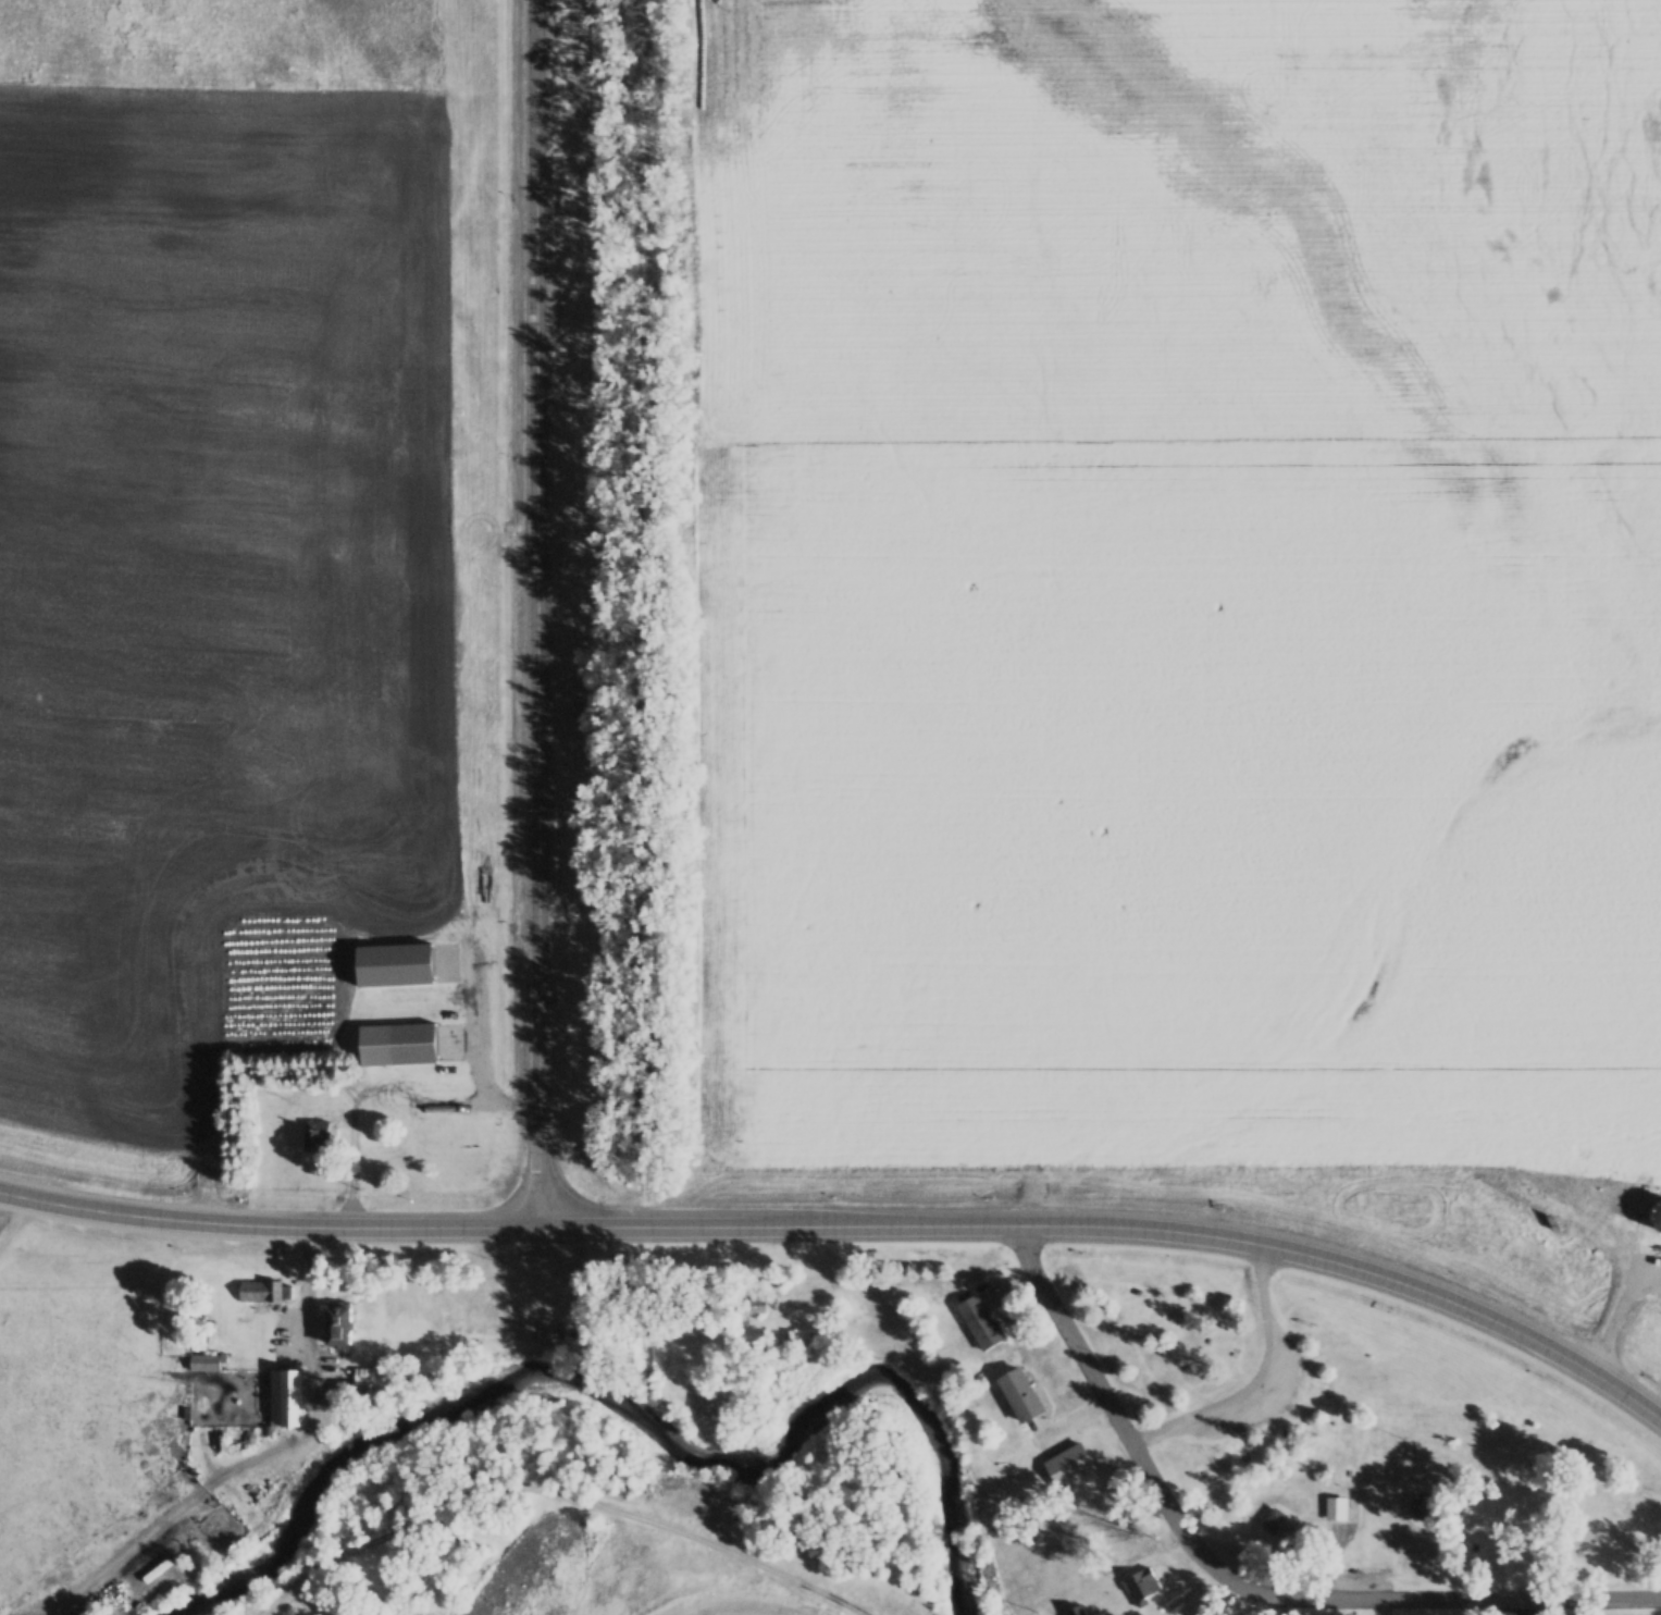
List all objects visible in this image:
road: (541, 613)
building: (393, 964)
building: (397, 1044)
building: (312, 1136)
building: (1657, 1213)
silo: (1657, 1213)
road: (270, 1225)
road: (1121, 1226)
park: (11, 1231)
building: (262, 1291)
building: (980, 1321)
building: (337, 1322)
building: (562, 1331)
building: (204, 1361)
river: (881, 1379)
road: (1256, 1380)
building: (352, 1385)
building: (1021, 1393)
building: (285, 1396)
river: (402, 1426)
building: (1070, 1464)
building: (1418, 1507)
building: (1337, 1509)
road: (420, 1517)
road: (732, 1553)
crop: (531, 1568)
park: (677, 1579)
road: (1237, 1581)
building: (1141, 1585)
building: (1076, 1610)
track: (749, 1613)

